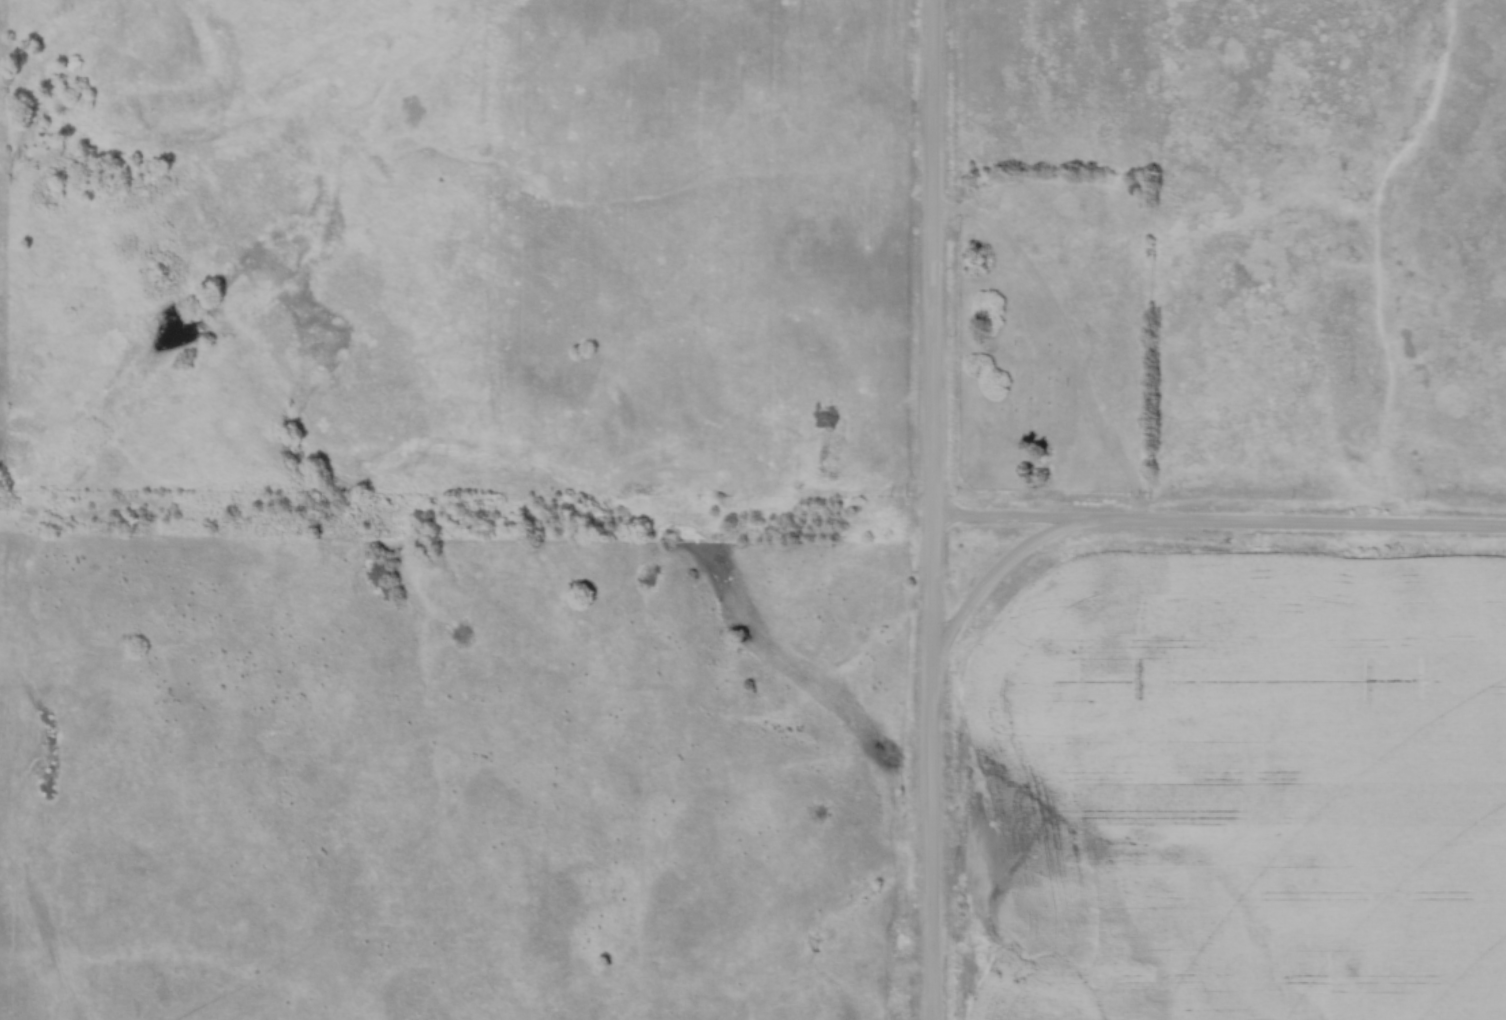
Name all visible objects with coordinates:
road: (933, 260)
road: (1219, 527)
road: (991, 580)
road: (935, 771)

